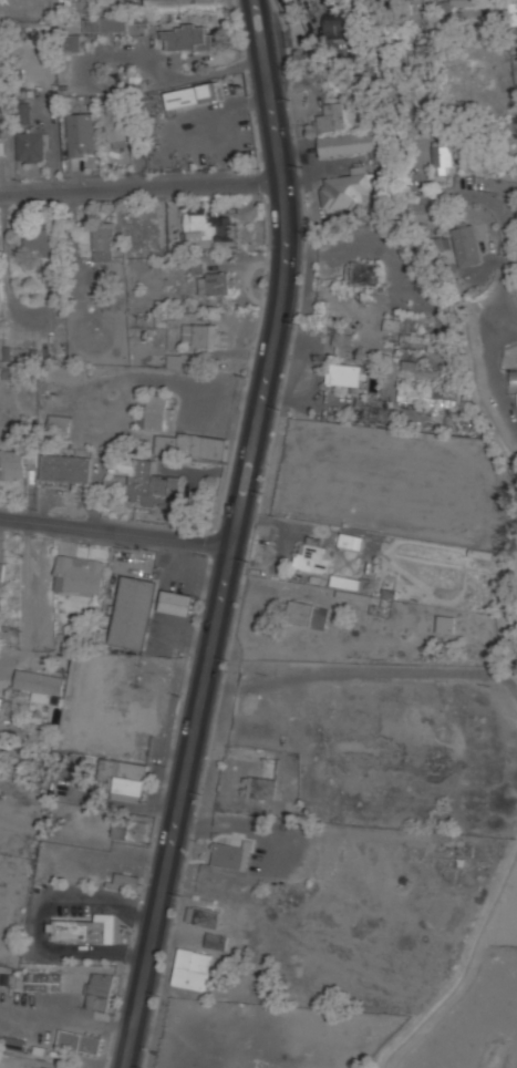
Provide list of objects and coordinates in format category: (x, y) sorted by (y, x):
building: (463, 1)
building: (182, 6)
building: (144, 18)
building: (515, 18)
building: (340, 23)
building: (105, 24)
building: (187, 38)
building: (73, 43)
building: (516, 72)
road: (120, 91)
building: (188, 95)
road: (219, 106)
building: (333, 115)
building: (1, 129)
building: (81, 134)
building: (354, 143)
building: (31, 146)
building: (443, 154)
road: (142, 183)
building: (348, 188)
building: (208, 229)
road: (507, 230)
building: (103, 244)
building: (466, 246)
building: (42, 249)
road: (7, 269)
building: (363, 274)
building: (214, 284)
building: (397, 326)
building: (201, 336)
building: (343, 339)
building: (413, 340)
building: (179, 360)
building: (428, 363)
building: (409, 366)
building: (63, 373)
building: (344, 374)
building: (513, 377)
building: (157, 412)
building: (60, 423)
building: (190, 445)
building: (15, 463)
building: (65, 469)
building: (148, 483)
road: (115, 532)
road: (232, 535)
building: (351, 542)
building: (313, 556)
building: (1, 571)
building: (79, 575)
building: (345, 582)
road: (29, 602)
building: (176, 603)
building: (133, 613)
building: (308, 615)
building: (446, 624)
building: (40, 685)
building: (126, 779)
building: (261, 788)
building: (130, 829)
building: (232, 855)
building: (126, 882)
building: (203, 916)
building: (83, 928)
building: (216, 941)
building: (192, 969)
building: (43, 982)
building: (100, 995)
road: (65, 1017)
building: (80, 1041)
building: (44, 1067)

